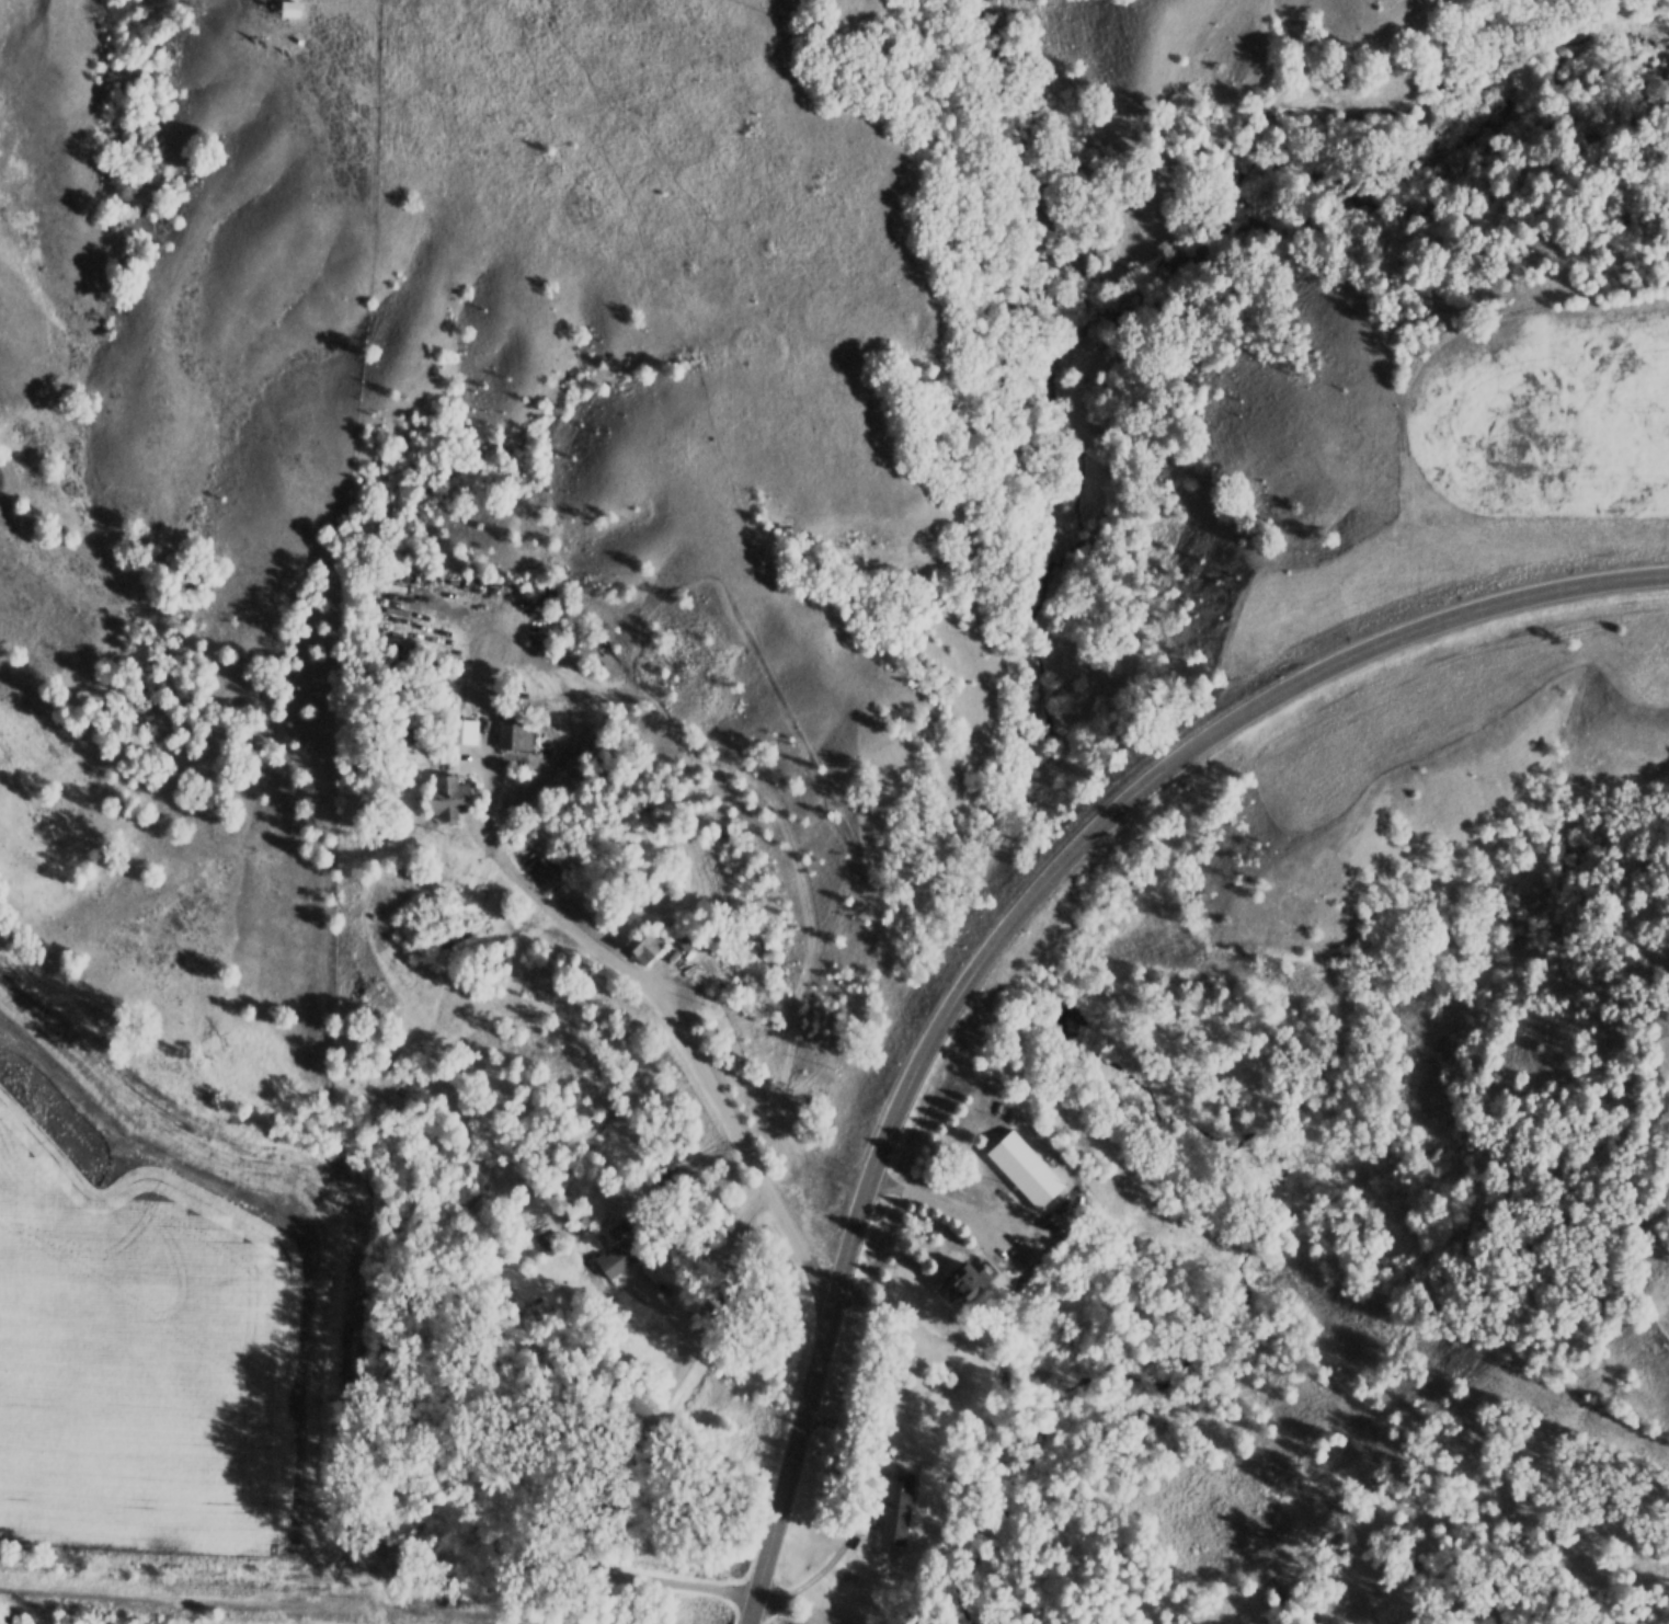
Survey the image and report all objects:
building: (289, 8)
building: (464, 730)
building: (514, 734)
building: (447, 797)
road: (1014, 917)
building: (687, 934)
building: (642, 939)
road: (675, 1022)
building: (1022, 1164)
building: (618, 1245)
building: (968, 1274)
road: (624, 1445)
building: (895, 1506)
road: (265, 1604)

